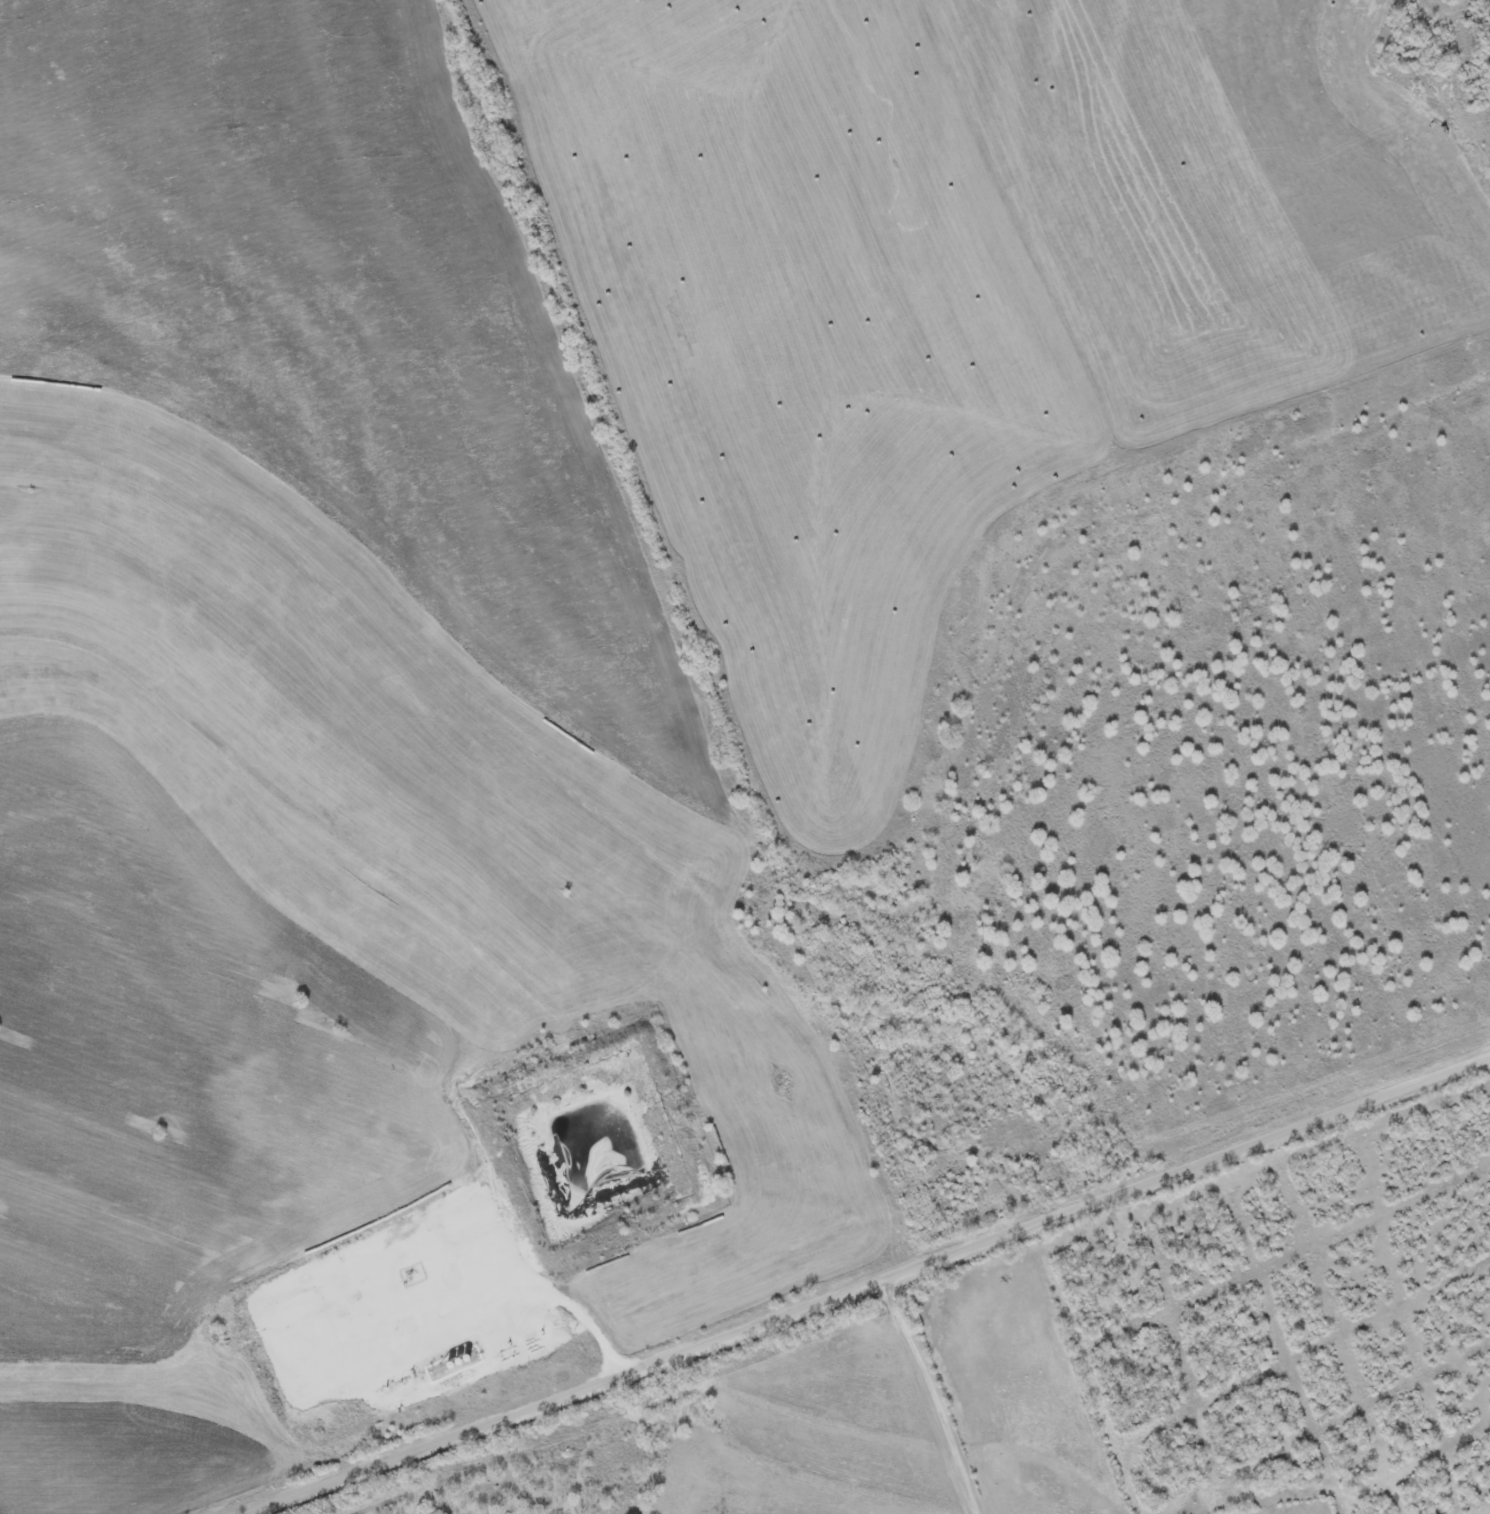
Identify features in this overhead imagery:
road: (868, 1286)

